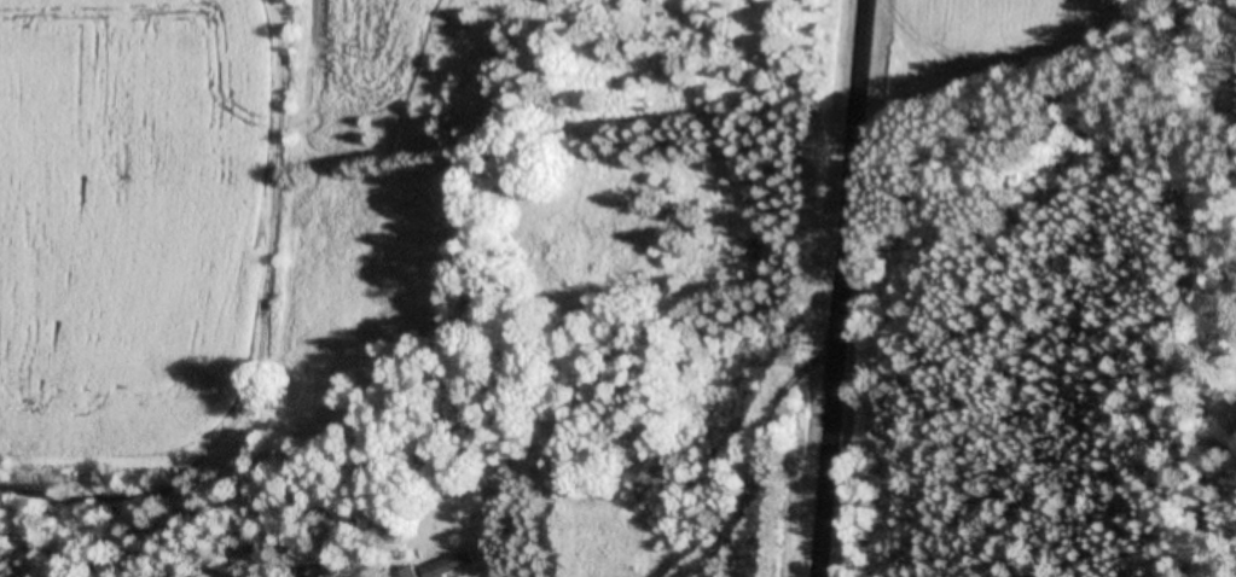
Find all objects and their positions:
road: (865, 288)
building: (455, 565)
building: (412, 573)

